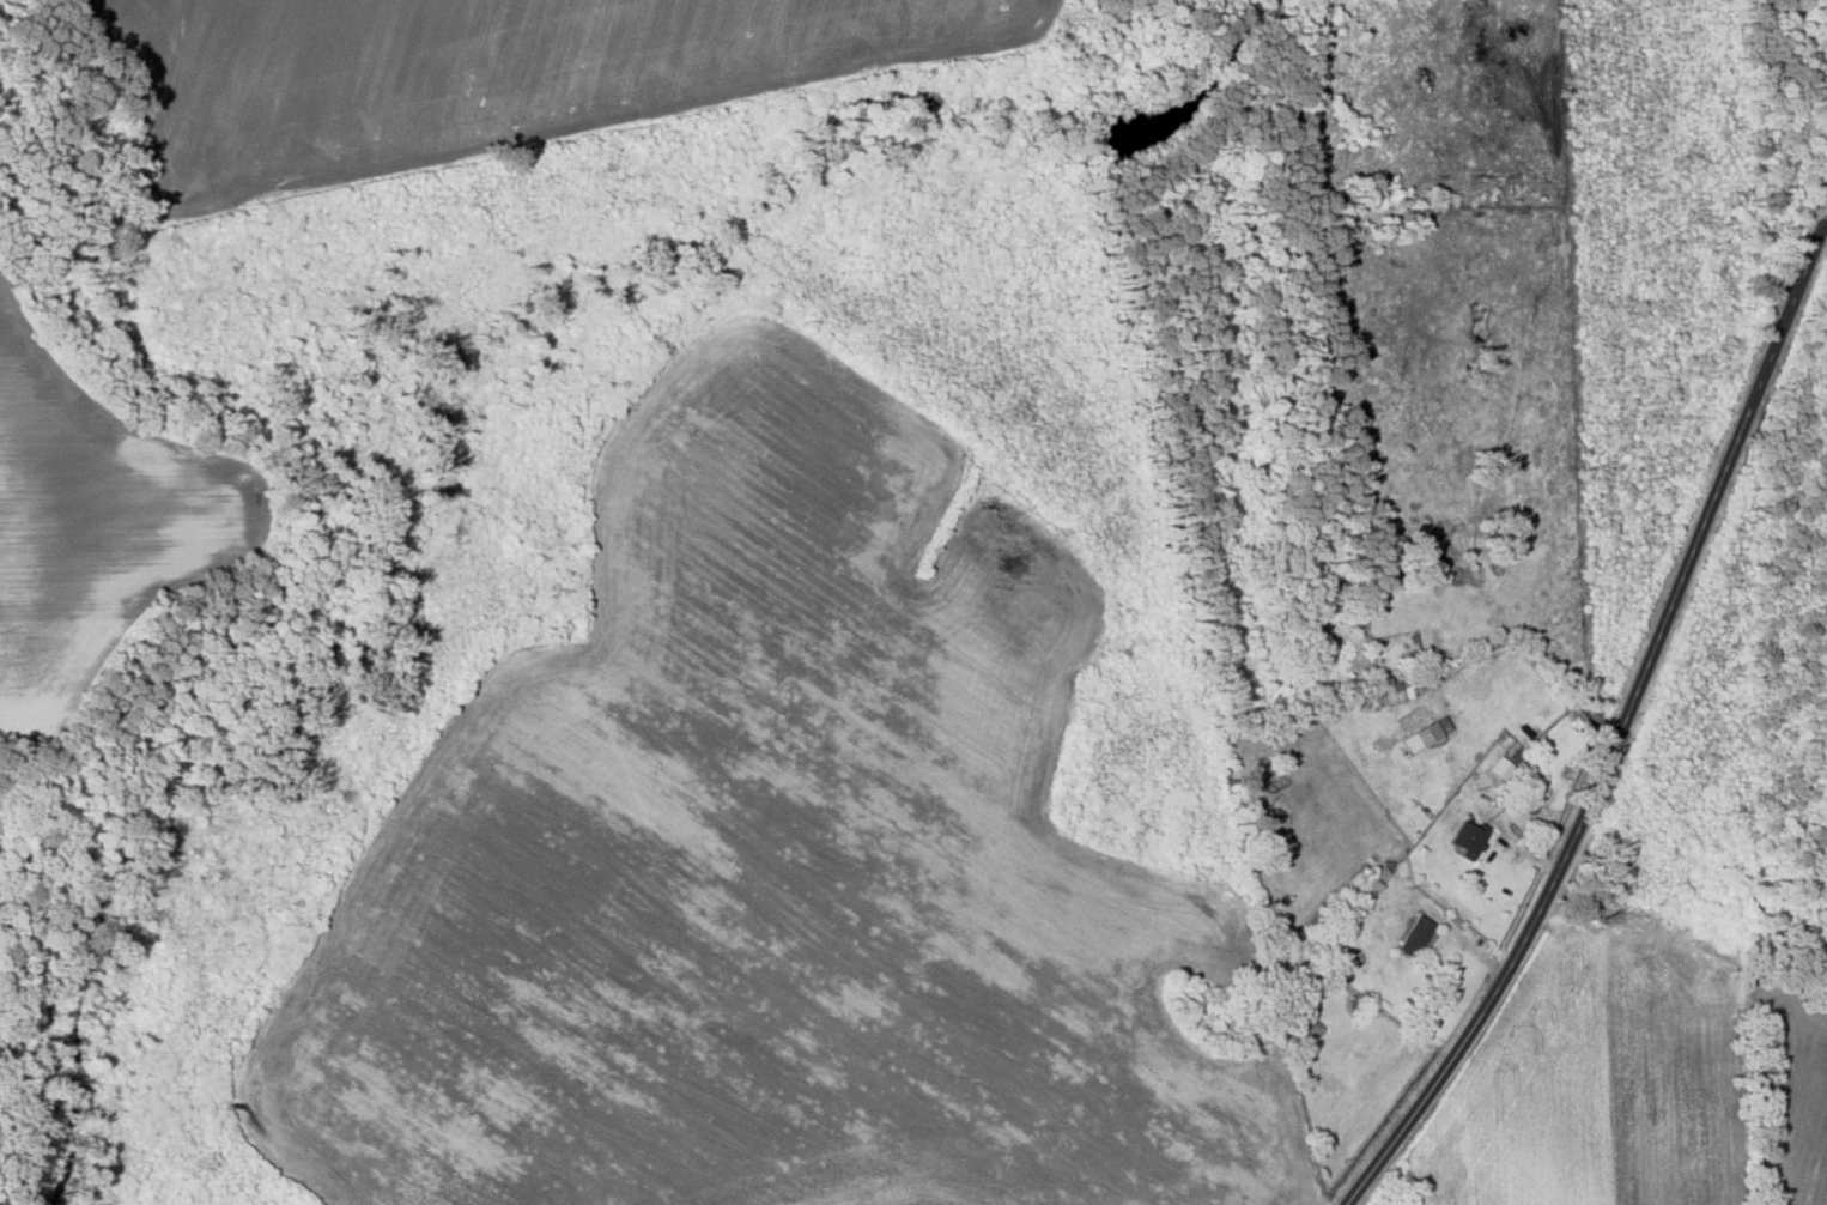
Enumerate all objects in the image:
road: (1617, 723)
building: (1424, 733)
building: (1499, 767)
building: (1467, 837)
building: (1413, 935)

